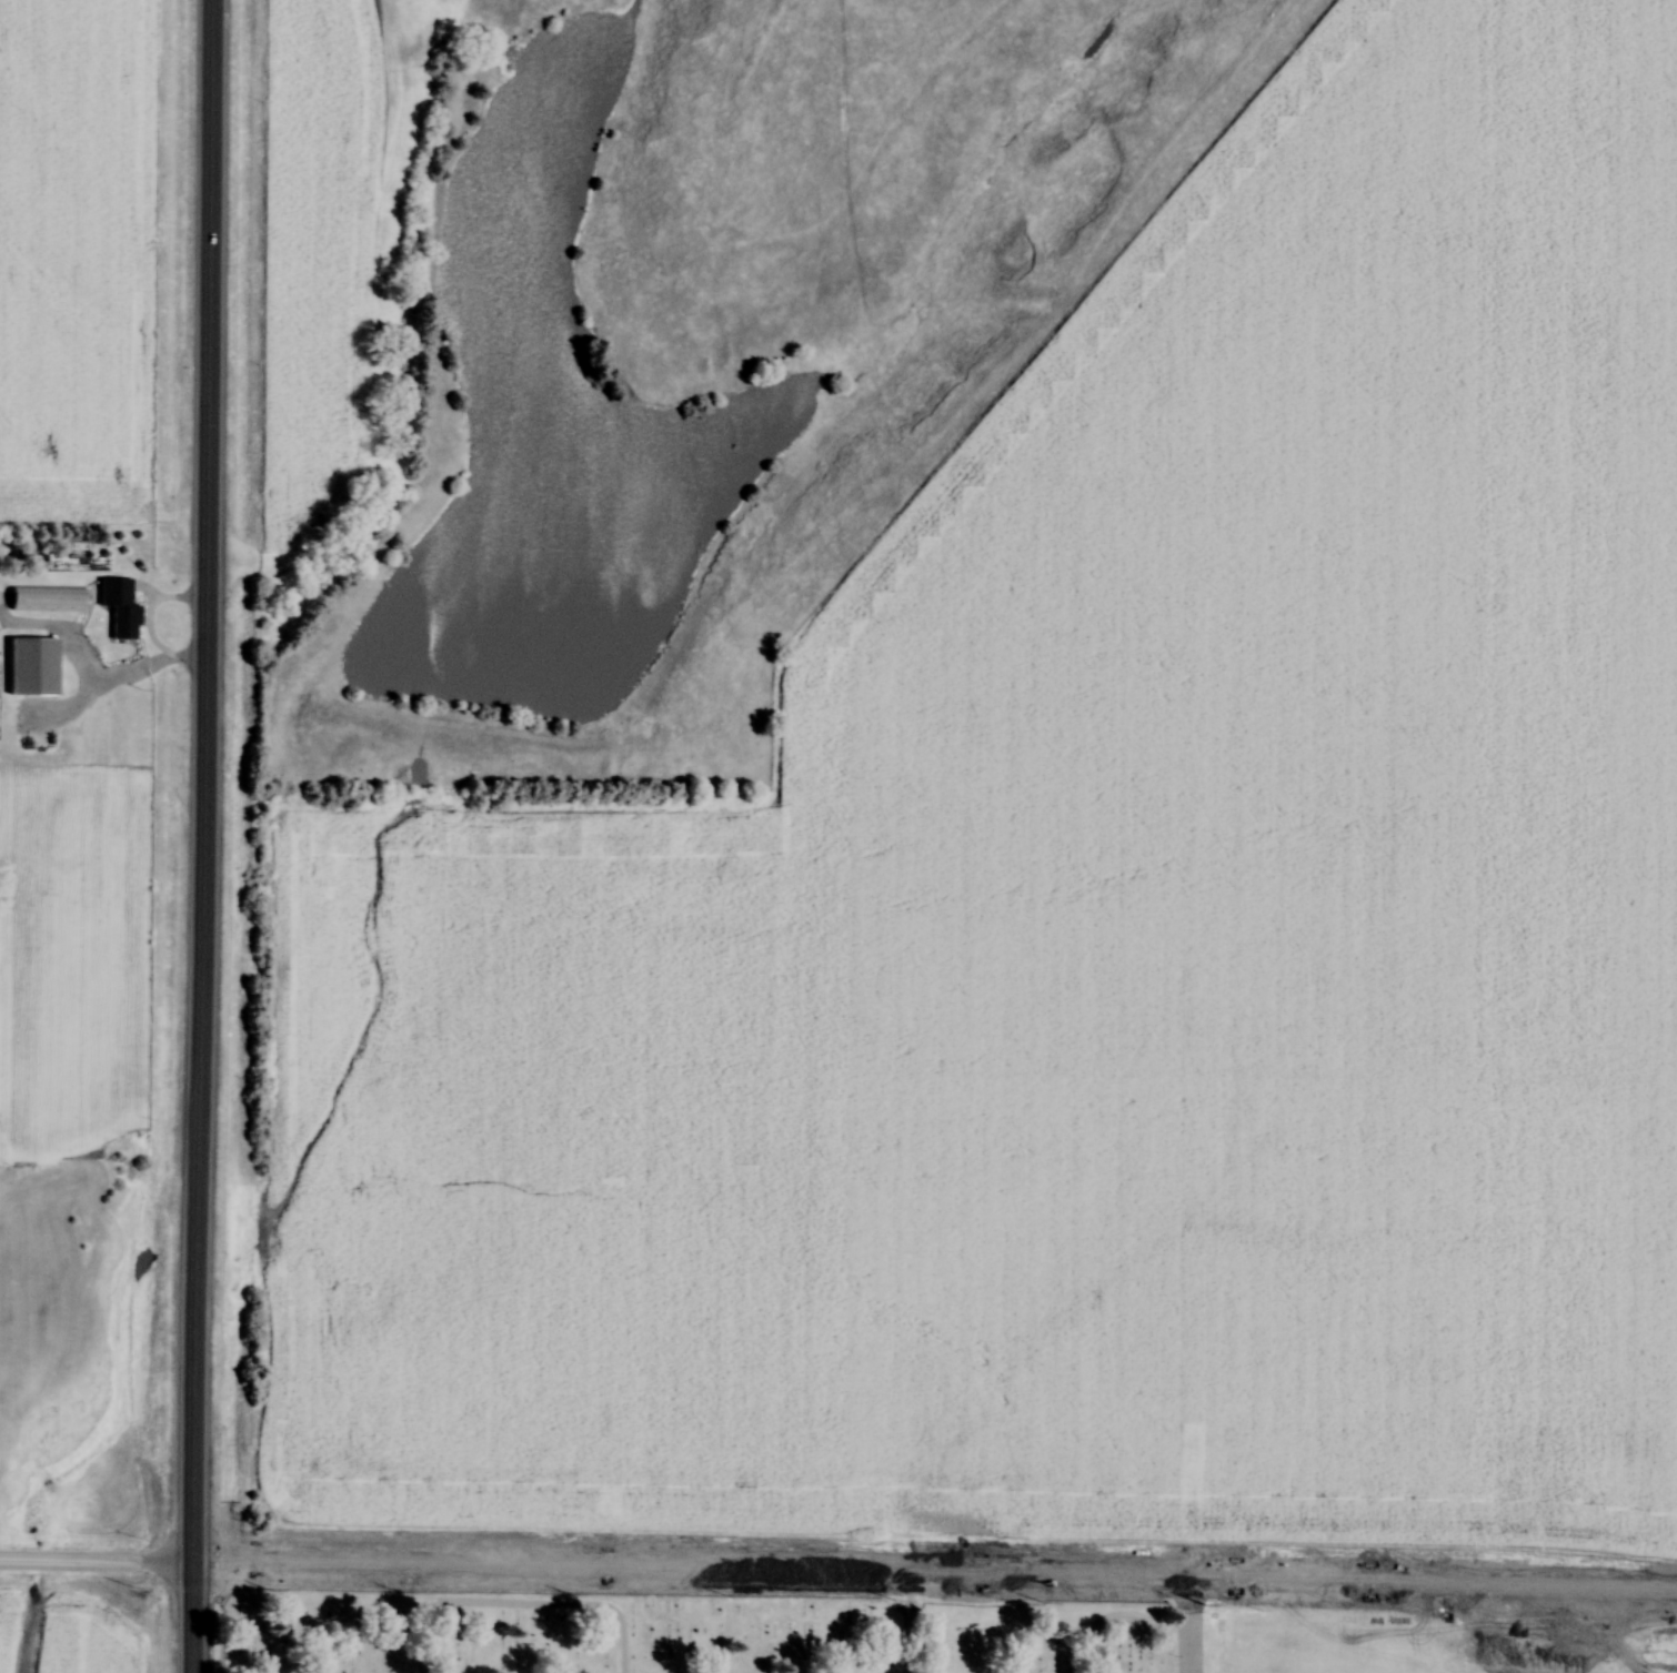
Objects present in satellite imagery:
building: (46, 599)
building: (117, 612)
building: (30, 667)
road: (116, 681)
road: (204, 783)
road: (97, 1564)
road: (935, 1574)
road: (521, 1605)
road: (1126, 1616)
road: (192, 1620)
road: (907, 1623)
road: (1199, 1627)
park: (705, 1629)

